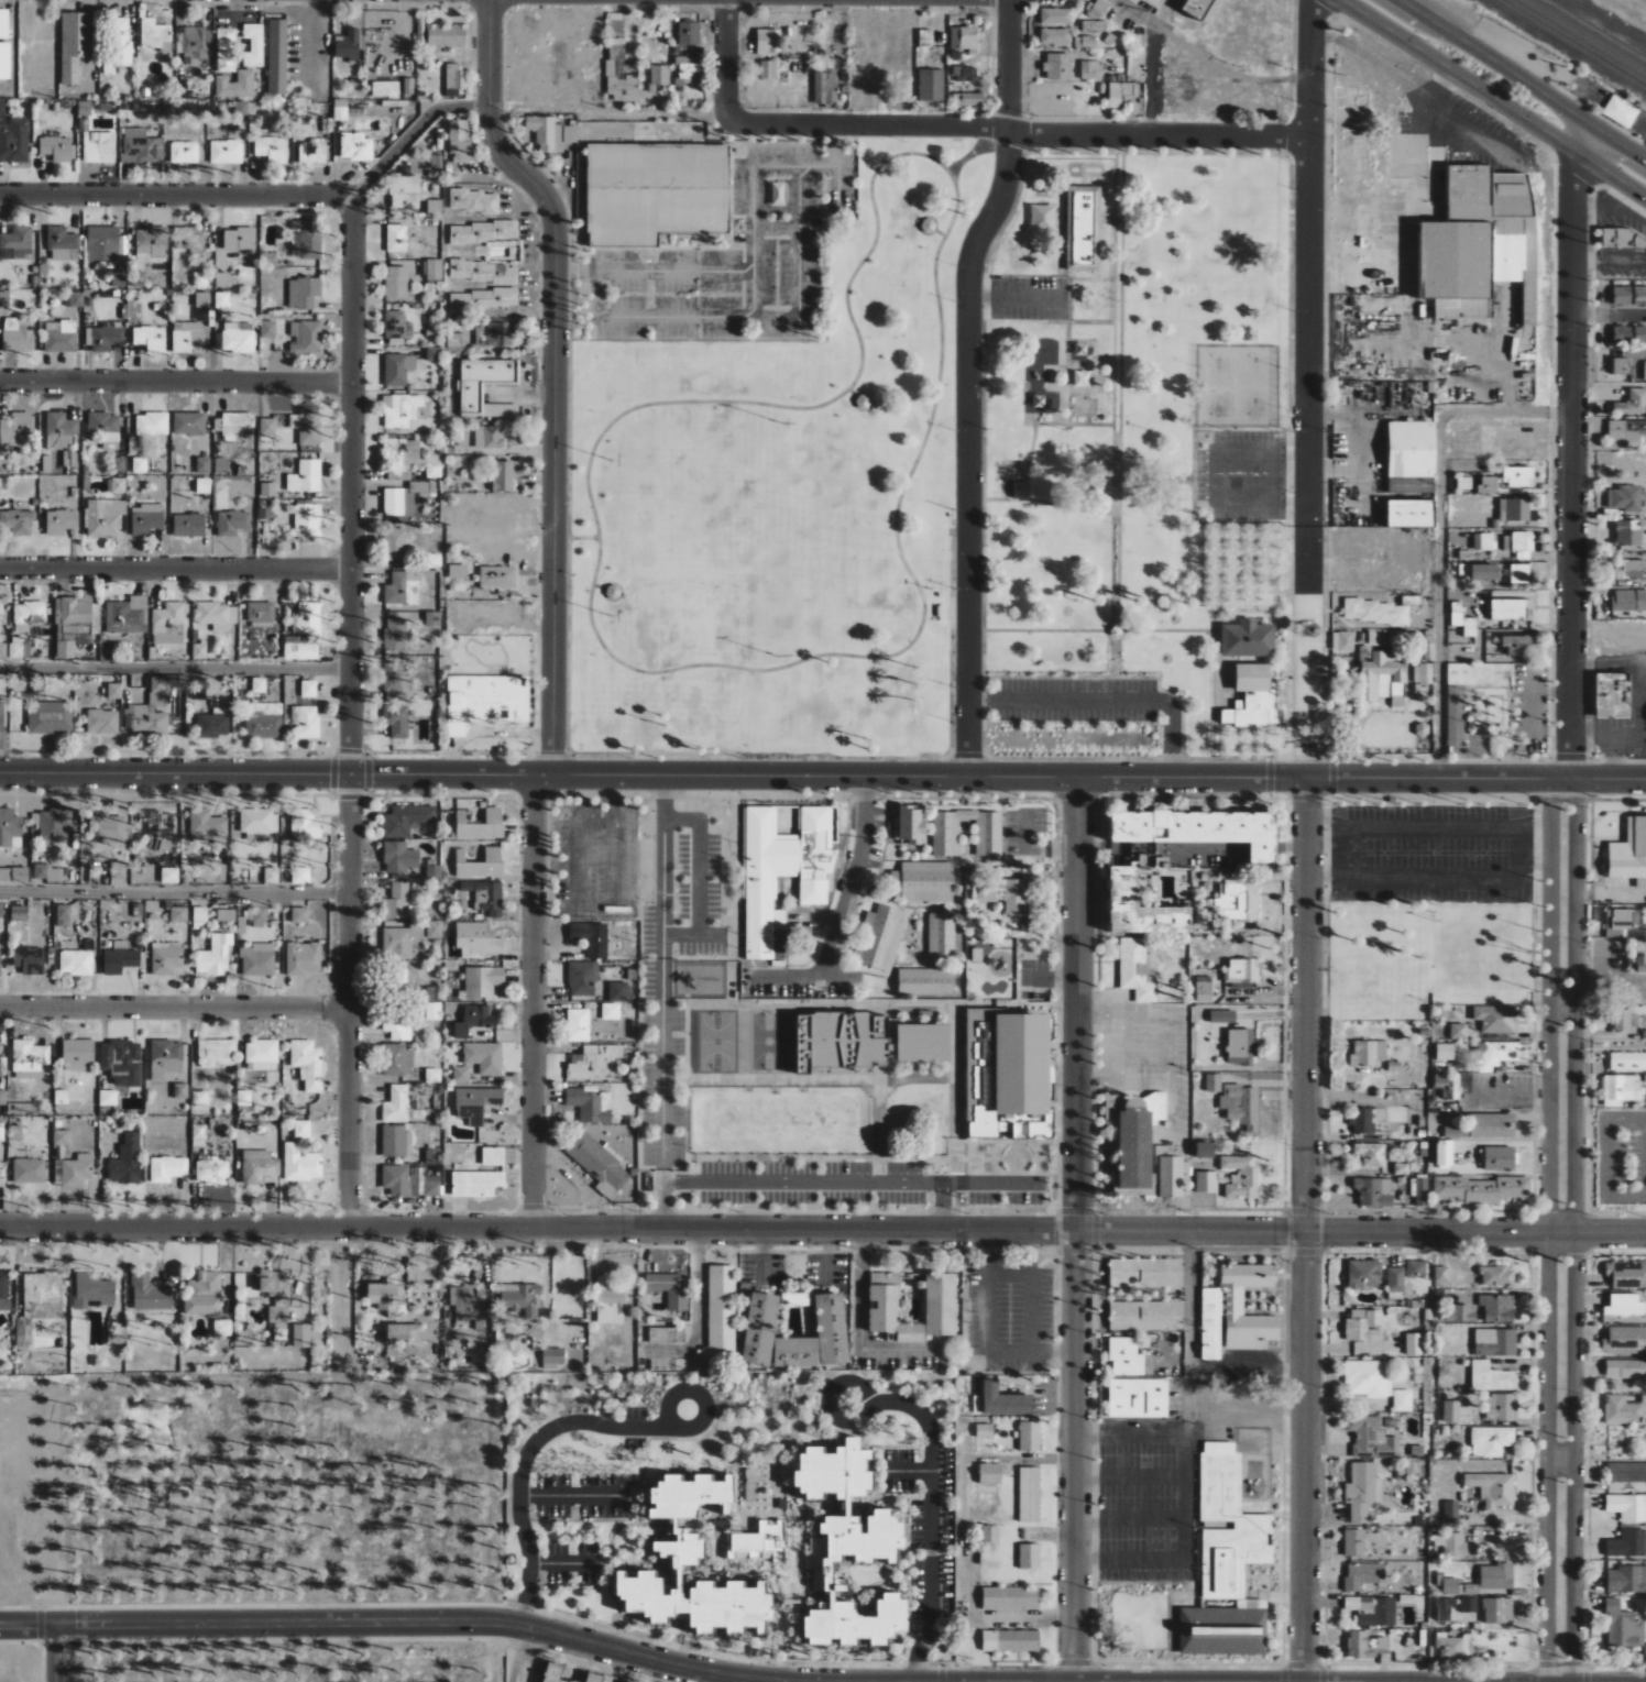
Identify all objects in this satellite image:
building: (1211, 0)
building: (1196, 8)
building: (1097, 10)
road: (1132, 11)
road: (1163, 13)
building: (1056, 15)
building: (3, 23)
road: (1423, 29)
building: (689, 33)
building: (155, 35)
building: (447, 35)
building: (1055, 36)
building: (926, 37)
building: (964, 37)
railway: (1583, 37)
building: (768, 41)
building: (1086, 41)
railway: (1574, 42)
building: (74, 44)
building: (119, 45)
building: (195, 45)
building: (254, 45)
building: (347, 45)
building: (226, 50)
building: (277, 56)
building: (4, 61)
road: (732, 61)
building: (1058, 66)
building: (770, 68)
road: (1449, 68)
building: (687, 69)
building: (1090, 69)
building: (965, 74)
building: (659, 76)
building: (452, 79)
road: (1523, 79)
road: (1148, 80)
building: (621, 81)
building: (235, 85)
building: (931, 85)
building: (825, 88)
building: (385, 89)
building: (1120, 92)
building: (967, 98)
building: (2, 108)
building: (241, 108)
building: (340, 109)
building: (1621, 111)
road: (899, 127)
road: (1577, 130)
building: (550, 133)
building: (13, 139)
building: (460, 140)
building: (98, 146)
building: (355, 146)
building: (141, 147)
building: (57, 149)
building: (272, 149)
road: (1571, 149)
road: (979, 150)
building: (185, 152)
building: (226, 152)
building: (312, 152)
road: (1617, 158)
road: (1615, 177)
building: (405, 191)
building: (655, 191)
road: (264, 195)
building: (474, 201)
building: (434, 206)
building: (928, 226)
building: (1083, 229)
building: (483, 231)
building: (396, 238)
building: (1623, 238)
building: (189, 239)
building: (240, 239)
building: (1474, 240)
building: (307, 242)
building: (17, 243)
building: (102, 243)
building: (63, 244)
building: (151, 245)
building: (270, 260)
road: (1310, 262)
building: (434, 268)
building: (483, 272)
building: (118, 278)
building: (222, 279)
building: (396, 282)
building: (304, 292)
building: (1628, 295)
building: (4, 299)
building: (222, 299)
building: (483, 299)
building: (66, 304)
building: (397, 326)
building: (267, 329)
building: (494, 333)
building: (1622, 333)
building: (1639, 333)
building: (18, 337)
building: (59, 337)
building: (105, 337)
building: (187, 337)
building: (306, 337)
building: (150, 338)
building: (234, 341)
building: (454, 342)
building: (1084, 348)
building: (1620, 365)
building: (398, 369)
building: (1644, 371)
road: (176, 373)
road: (556, 374)
road: (856, 378)
building: (1082, 378)
road: (973, 385)
building: (471, 394)
building: (1039, 400)
building: (1632, 403)
building: (400, 409)
road: (1508, 411)
building: (152, 424)
building: (188, 424)
building: (238, 424)
building: (267, 427)
building: (306, 428)
building: (15, 430)
building: (1626, 433)
building: (63, 437)
building: (108, 437)
building: (489, 437)
building: (1412, 458)
building: (393, 463)
building: (139, 464)
building: (204, 465)
building: (221, 465)
building: (434, 465)
park: (942, 471)
building: (306, 476)
building: (503, 476)
building: (1518, 476)
building: (118, 485)
building: (202, 485)
building: (1488, 485)
building: (267, 490)
building: (1020, 490)
building: (405, 496)
building: (1625, 498)
building: (1515, 509)
building: (1409, 514)
building: (146, 519)
building: (100, 520)
building: (307, 520)
building: (18, 521)
building: (61, 523)
building: (232, 523)
building: (188, 525)
building: (1631, 532)
building: (1483, 541)
building: (397, 545)
building: (1519, 545)
building: (434, 561)
road: (177, 564)
building: (1631, 569)
building: (458, 571)
building: (1464, 571)
building: (1484, 572)
building: (1519, 573)
building: (497, 576)
building: (402, 589)
building: (613, 592)
road: (1439, 594)
building: (1629, 601)
building: (1512, 609)
building: (76, 611)
building: (261, 612)
building: (1376, 612)
building: (30, 613)
building: (1, 614)
building: (127, 615)
building: (217, 615)
building: (434, 618)
building: (1463, 619)
building: (169, 622)
building: (79, 634)
building: (304, 634)
road: (1305, 634)
building: (395, 635)
building: (1378, 638)
building: (1248, 639)
building: (1347, 641)
building: (1516, 645)
building: (17, 647)
building: (65, 649)
building: (2, 650)
building: (199, 650)
building: (1429, 651)
road: (176, 667)
building: (1423, 678)
building: (395, 682)
building: (19, 684)
building: (259, 685)
building: (1370, 688)
building: (198, 689)
building: (308, 689)
building: (114, 691)
building: (1613, 695)
building: (1252, 699)
building: (485, 701)
building: (1456, 710)
building: (152, 711)
road: (351, 713)
building: (1, 717)
building: (50, 717)
building: (306, 721)
building: (396, 721)
building: (102, 722)
building: (212, 725)
building: (263, 725)
road: (1304, 744)
road: (1304, 750)
road: (822, 774)
building: (407, 820)
building: (155, 822)
building: (207, 824)
building: (259, 824)
building: (305, 824)
building: (480, 824)
building: (52, 825)
building: (911, 825)
building: (9, 827)
building: (107, 828)
building: (1199, 831)
building: (989, 838)
building: (1629, 854)
building: (399, 857)
building: (481, 864)
building: (435, 870)
building: (783, 870)
building: (118, 871)
building: (47, 872)
building: (13, 875)
building: (169, 876)
building: (272, 876)
building: (300, 876)
road: (698, 878)
building: (923, 882)
building: (1123, 888)
road: (175, 891)
building: (1005, 893)
building: (486, 895)
building: (397, 901)
building: (1239, 901)
road: (841, 906)
building: (1, 910)
building: (20, 913)
building: (178, 914)
building: (257, 914)
building: (63, 915)
building: (227, 915)
building: (300, 915)
building: (199, 917)
road: (1567, 919)
building: (1618, 922)
building: (435, 930)
building: (941, 935)
building: (591, 938)
building: (879, 938)
building: (479, 939)
building: (400, 942)
building: (0, 954)
building: (215, 956)
building: (120, 958)
building: (166, 958)
building: (304, 958)
building: (29, 959)
building: (259, 959)
building: (76, 963)
building: (1640, 963)
building: (1138, 969)
building: (1242, 971)
road: (836, 976)
building: (582, 979)
building: (925, 981)
building: (483, 982)
building: (1205, 989)
building: (619, 992)
road: (536, 1002)
road: (662, 1003)
road: (175, 1009)
building: (434, 1011)
building: (611, 1011)
building: (1222, 1016)
building: (1497, 1019)
building: (1624, 1021)
building: (476, 1023)
building: (579, 1025)
building: (397, 1026)
building: (1459, 1031)
building: (840, 1042)
building: (923, 1044)
building: (1240, 1047)
road: (1165, 1048)
building: (262, 1052)
building: (1446, 1052)
building: (217, 1053)
building: (1369, 1053)
building: (1496, 1053)
building: (77, 1055)
building: (484, 1057)
building: (166, 1058)
building: (2, 1059)
building: (29, 1059)
building: (397, 1059)
building: (121, 1063)
building: (594, 1063)
building: (1627, 1063)
building: (307, 1064)
building: (260, 1066)
building: (461, 1074)
building: (1007, 1075)
building: (1214, 1082)
building: (1621, 1089)
building: (180, 1090)
building: (2, 1097)
building: (108, 1098)
building: (243, 1098)
building: (61, 1099)
building: (476, 1102)
building: (396, 1104)
building: (1111, 1104)
building: (1241, 1104)
building: (591, 1106)
building: (21, 1108)
building: (1362, 1121)
building: (1493, 1126)
building: (301, 1129)
building: (1, 1131)
building: (15, 1132)
building: (1457, 1132)
building: (1137, 1140)
building: (395, 1141)
building: (1205, 1151)
building: (1371, 1154)
building: (1444, 1154)
building: (432, 1156)
building: (493, 1156)
building: (1500, 1157)
building: (127, 1161)
building: (72, 1163)
building: (301, 1164)
building: (599, 1165)
building: (259, 1166)
building: (167, 1168)
building: (29, 1170)
building: (212, 1172)
building: (1241, 1176)
building: (1171, 1177)
building: (396, 1180)
road: (826, 1180)
road: (987, 1181)
building: (1207, 1181)
building: (476, 1184)
building: (431, 1188)
building: (1482, 1189)
building: (1374, 1191)
road: (1306, 1218)
road: (1074, 1227)
road: (822, 1234)
building: (8, 1256)
building: (1416, 1267)
building: (1145, 1273)
building: (1363, 1273)
building: (1442, 1273)
building: (1627, 1274)
building: (1497, 1276)
building: (1395, 1278)
road: (119, 1288)
building: (92, 1290)
building: (670, 1290)
building: (3, 1293)
building: (151, 1294)
building: (204, 1294)
road: (338, 1295)
building: (382, 1295)
building: (41, 1297)
building: (523, 1298)
building: (610, 1299)
building: (469, 1304)
building: (940, 1304)
building: (1625, 1305)
building: (1497, 1307)
building: (889, 1308)
building: (1236, 1310)
building: (277, 1312)
road: (698, 1312)
building: (721, 1312)
building: (1460, 1313)
building: (1145, 1315)
road: (856, 1326)
building: (222, 1327)
building: (1364, 1327)
building: (759, 1328)
building: (404, 1332)
building: (116, 1334)
building: (667, 1334)
building: (301, 1335)
building: (817, 1337)
building: (502, 1338)
building: (1625, 1340)
building: (1496, 1342)
building: (1414, 1343)
building: (553, 1356)
building: (1129, 1357)
building: (1626, 1367)
road: (1192, 1372)
building: (1369, 1377)
building: (1492, 1377)
road: (694, 1392)
building: (1138, 1397)
building: (1003, 1400)
building: (1403, 1400)
building: (1502, 1407)
building: (1623, 1409)
building: (1452, 1410)
building: (985, 1430)
building: (1030, 1436)
building: (1371, 1437)
building: (1492, 1440)
road: (523, 1458)
road: (1127, 1472)
building: (1626, 1472)
building: (990, 1473)
building: (751, 1485)
building: (1493, 1488)
building: (1363, 1491)
building: (1030, 1494)
road: (1184, 1495)
road: (569, 1496)
building: (1627, 1507)
road: (931, 1508)
building: (1451, 1511)
building: (1237, 1517)
road: (1127, 1518)
building: (990, 1533)
building: (758, 1542)
building: (1354, 1542)
building: (1451, 1543)
building: (1627, 1543)
building: (846, 1547)
building: (1030, 1555)
road: (562, 1559)
building: (1362, 1575)
building: (1496, 1576)
building: (1627, 1579)
building: (1450, 1585)
building: (1010, 1597)
building: (1469, 1605)
building: (1445, 1608)
building: (1373, 1609)
building: (1497, 1610)
road: (992, 1621)
road: (384, 1623)
building: (1623, 1626)
building: (1222, 1630)
building: (1010, 1640)
building: (1365, 1643)
building: (1452, 1646)
building: (1645, 1649)
road: (61, 1654)
road: (516, 1654)
building: (553, 1672)
road: (1275, 1675)
building: (593, 1678)
road: (1124, 1680)
road: (1427, 1680)

